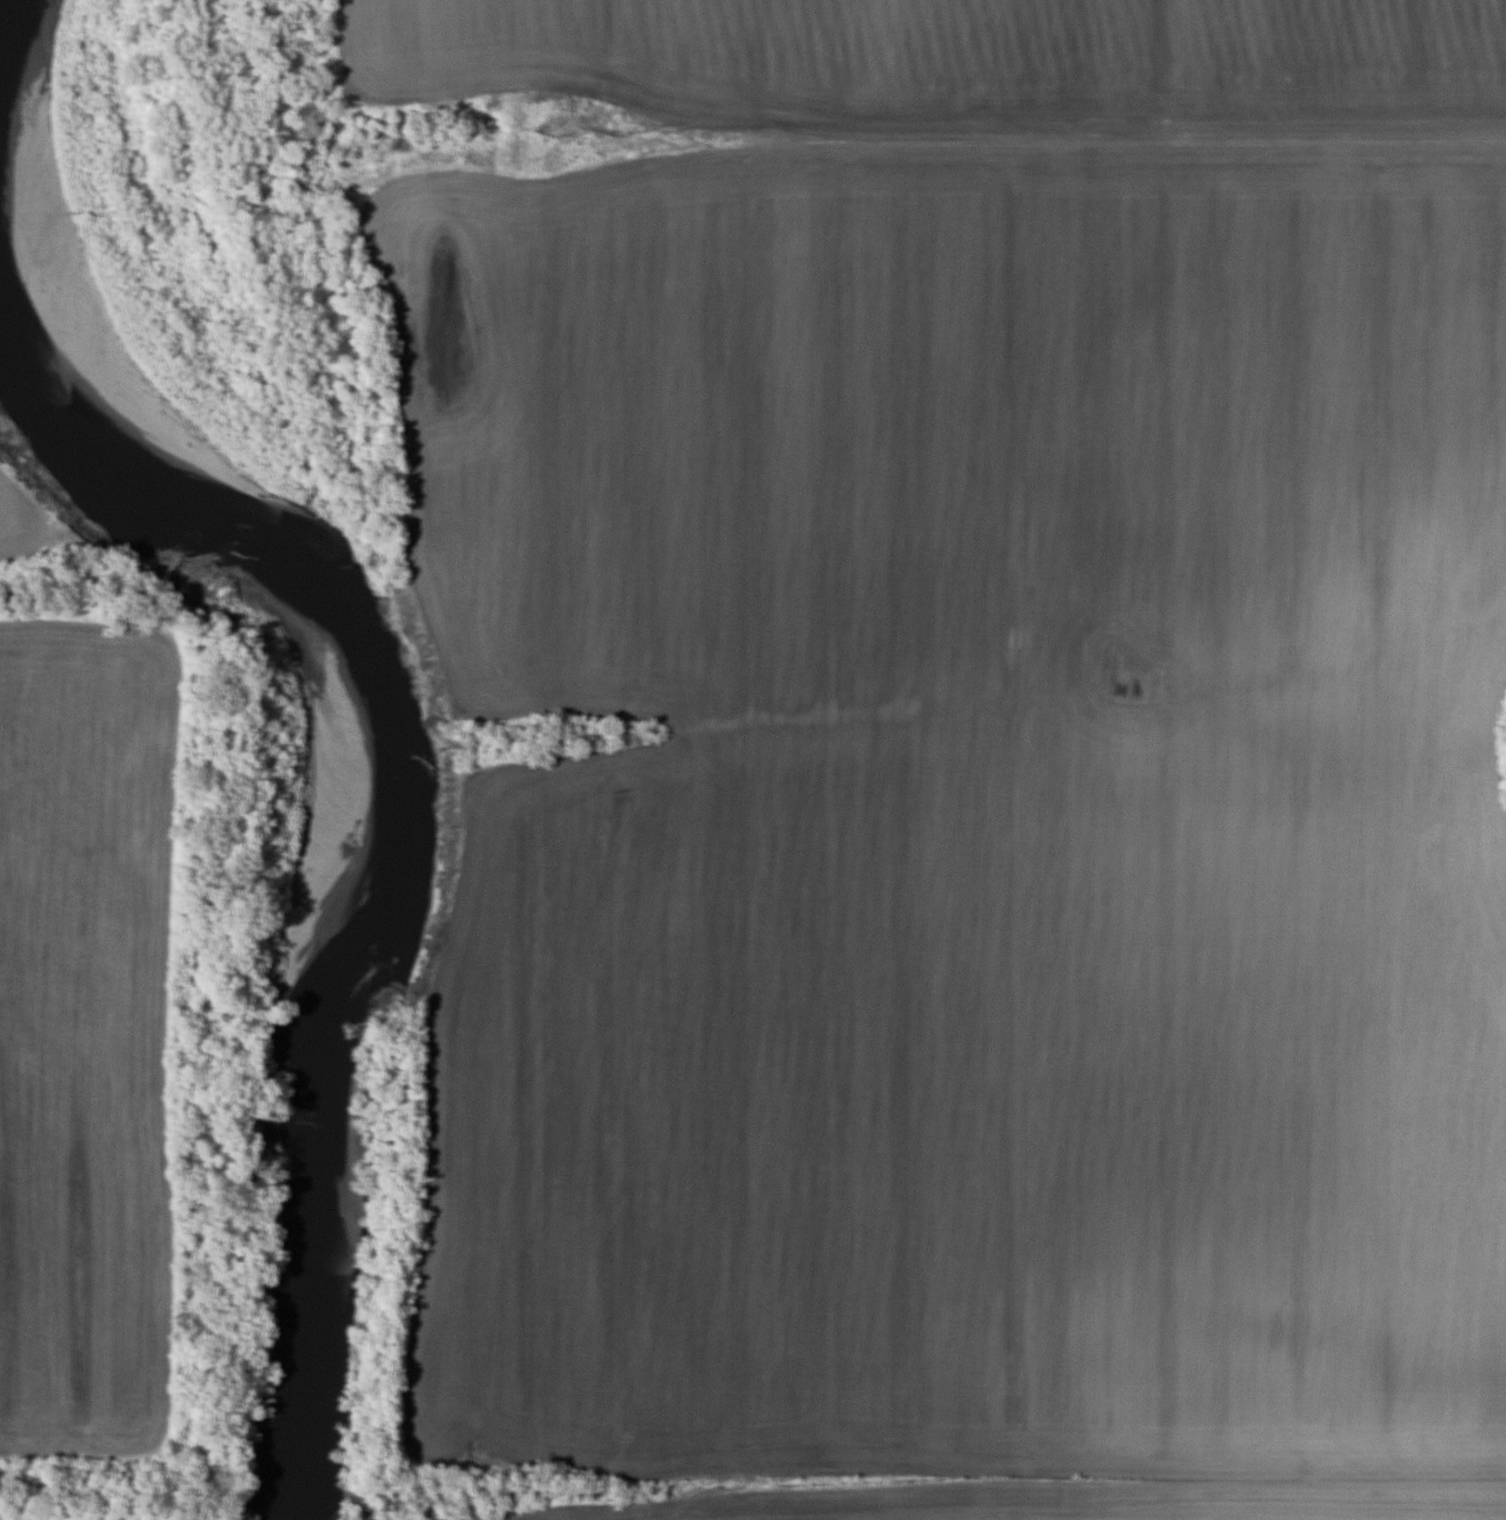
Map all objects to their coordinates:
river: (337, 806)

